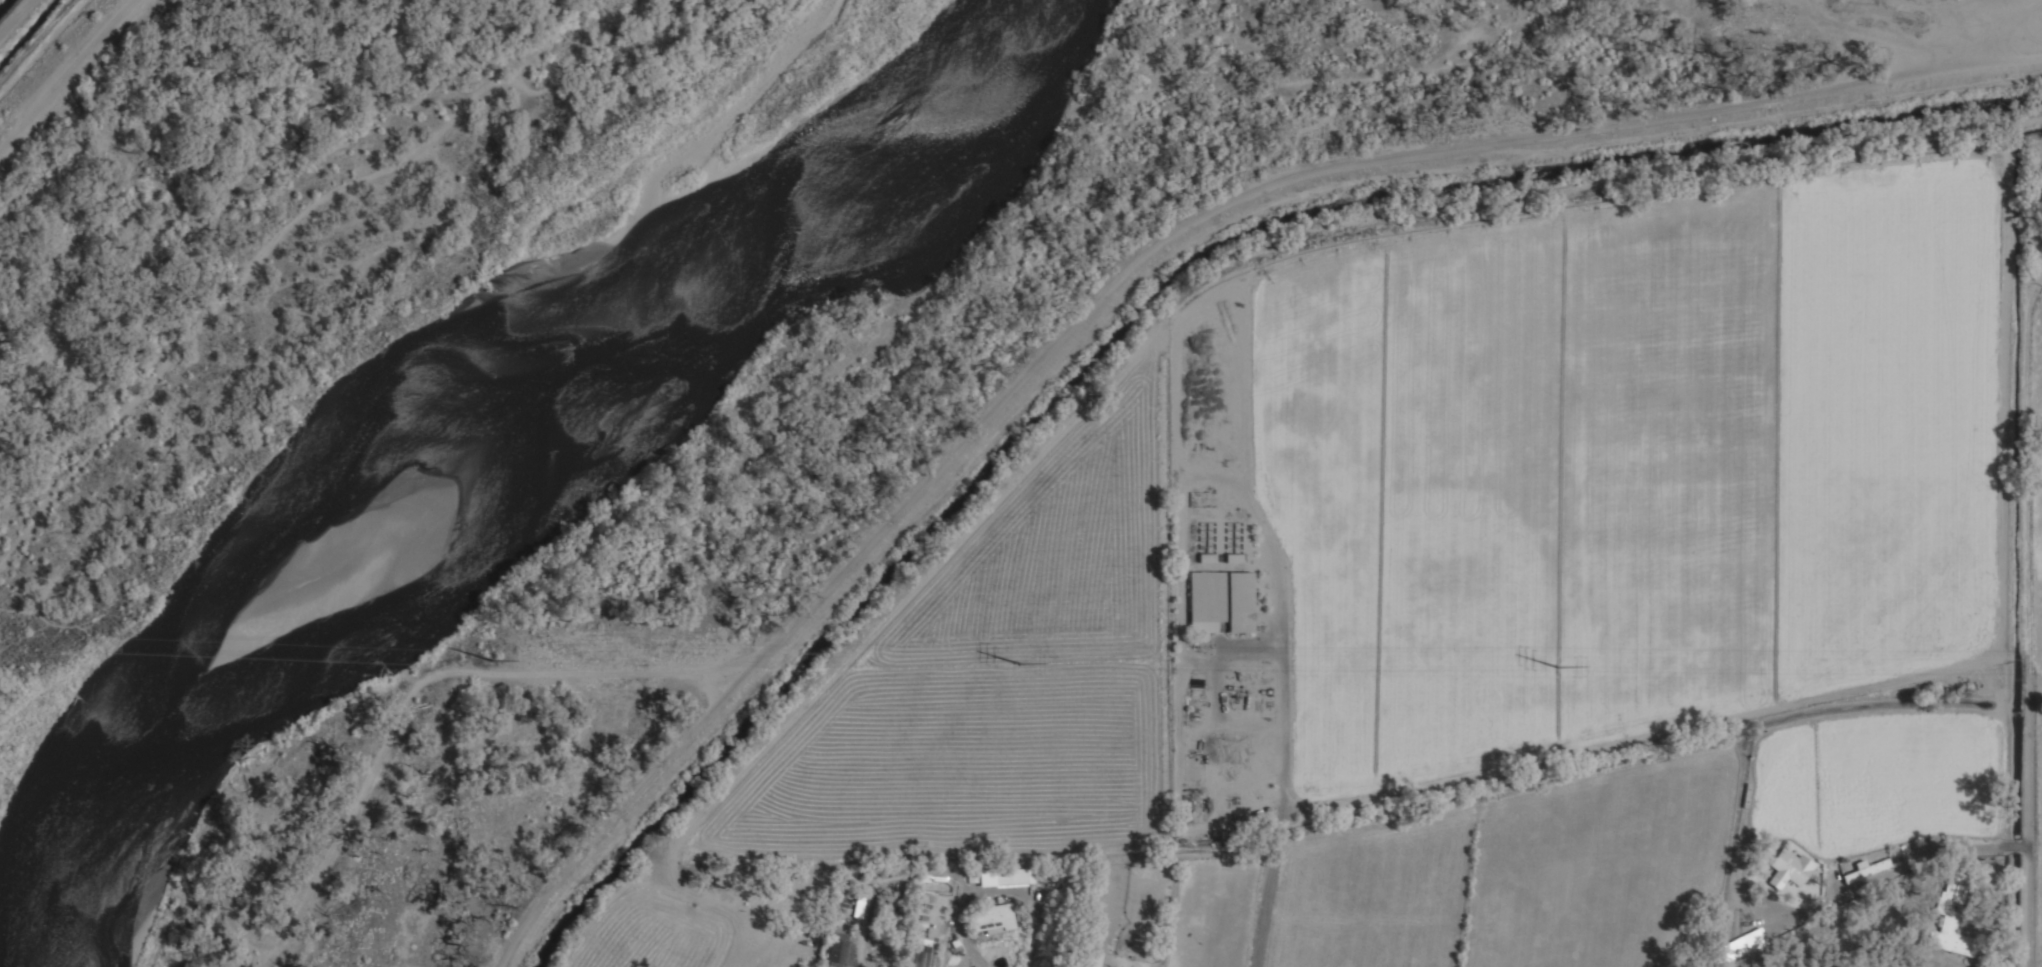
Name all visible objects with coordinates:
road: (1135, 262)
river: (476, 456)
crop: (1643, 567)
building: (1220, 600)
power tower: (493, 662)
power tower: (1021, 664)
power tower: (1562, 667)
road: (1283, 773)
road: (2031, 825)
building: (1791, 866)
building: (1867, 870)
building: (1011, 877)
road: (992, 890)
building: (859, 905)
building: (877, 908)
building: (992, 917)
building: (1951, 919)
building: (1739, 946)
building: (842, 950)
building: (1088, 957)
building: (822, 966)

